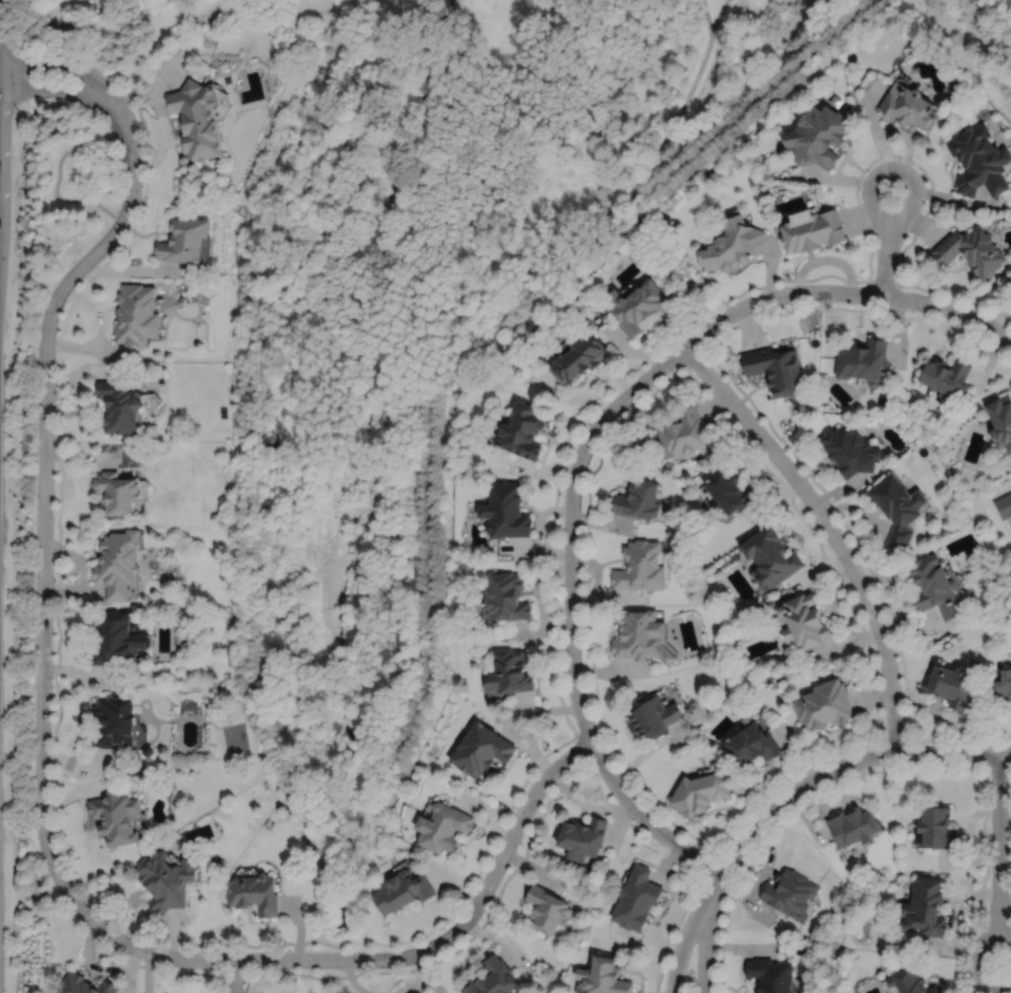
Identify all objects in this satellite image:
road: (718, 15)
road: (707, 16)
road: (7, 21)
road: (90, 29)
road: (4, 42)
road: (957, 58)
road: (64, 68)
street lamp: (115, 85)
road: (57, 89)
building: (905, 108)
street lamp: (19, 110)
building: (197, 118)
building: (817, 136)
building: (979, 164)
road: (639, 179)
street lamp: (859, 187)
road: (914, 192)
street lamp: (141, 196)
building: (812, 227)
building: (184, 238)
building: (732, 242)
building: (972, 248)
road: (117, 250)
road: (132, 270)
road: (883, 282)
street lamp: (786, 283)
road: (779, 294)
building: (636, 304)
road: (95, 309)
road: (864, 309)
street lamp: (921, 311)
building: (136, 314)
road: (708, 344)
road: (86, 347)
building: (578, 357)
road: (694, 358)
building: (864, 358)
street lamp: (56, 359)
road: (679, 367)
building: (775, 367)
street lamp: (673, 371)
building: (948, 374)
building: (119, 405)
building: (1002, 421)
building: (523, 430)
street lamp: (606, 431)
building: (682, 432)
street lamp: (781, 442)
building: (851, 450)
road: (44, 488)
building: (729, 491)
building: (119, 493)
building: (638, 499)
building: (1004, 505)
building: (898, 506)
building: (506, 510)
street lamp: (55, 520)
road: (844, 521)
road: (832, 529)
street lamp: (582, 534)
building: (771, 557)
building: (120, 563)
building: (640, 567)
street lamp: (841, 567)
building: (934, 586)
building: (507, 598)
building: (805, 621)
building: (640, 636)
building: (119, 638)
street lamp: (561, 644)
street lamp: (895, 648)
building: (509, 673)
road: (575, 684)
building: (1005, 684)
street lamp: (53, 685)
building: (952, 686)
building: (824, 705)
building: (652, 716)
building: (116, 723)
street lamp: (575, 723)
road: (952, 735)
road: (895, 739)
street lamp: (991, 741)
building: (751, 745)
road: (646, 748)
road: (583, 749)
building: (481, 750)
road: (845, 763)
street lamp: (887, 765)
road: (997, 766)
road: (900, 770)
street lamp: (53, 774)
building: (701, 792)
road: (582, 800)
street lamp: (764, 802)
street lamp: (515, 806)
road: (505, 812)
building: (116, 816)
street lamp: (632, 819)
road: (618, 821)
road: (736, 823)
road: (1010, 823)
building: (443, 825)
building: (854, 827)
building: (937, 828)
road: (999, 832)
building: (581, 838)
street lamp: (703, 849)
road: (709, 865)
street lamp: (989, 871)
building: (165, 878)
street lamp: (79, 884)
road: (717, 884)
building: (402, 889)
road: (500, 889)
building: (254, 892)
building: (790, 893)
building: (636, 898)
building: (924, 905)
building: (549, 907)
street lamp: (481, 916)
road: (1005, 925)
road: (299, 926)
street lamp: (719, 927)
road: (683, 941)
road: (705, 944)
road: (741, 948)
road: (375, 958)
street lamp: (140, 960)
road: (979, 960)
street lamp: (341, 968)
street lamp: (219, 969)
road: (147, 972)
road: (424, 974)
building: (770, 974)
building: (603, 975)
building: (493, 977)
road: (352, 979)
building: (910, 979)
building: (85, 984)
road: (410, 986)

